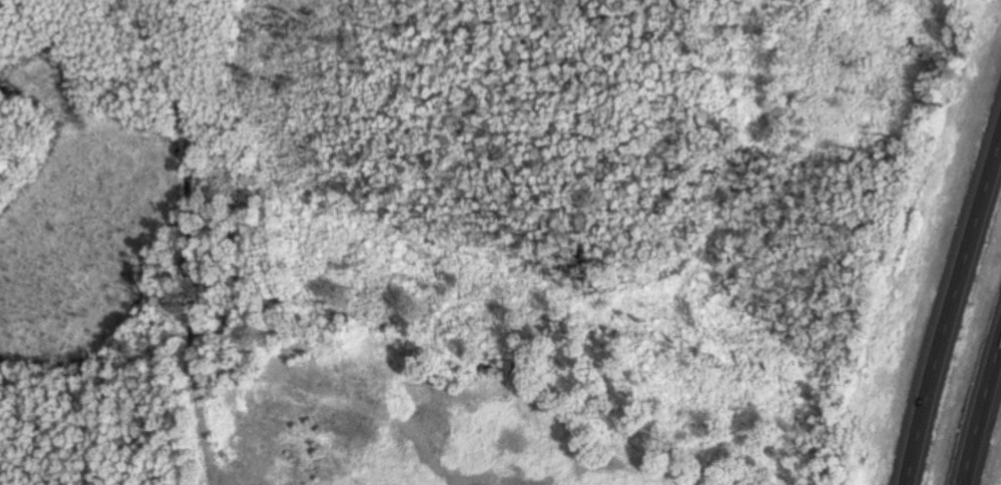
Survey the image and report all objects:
road: (948, 305)
road: (981, 413)

